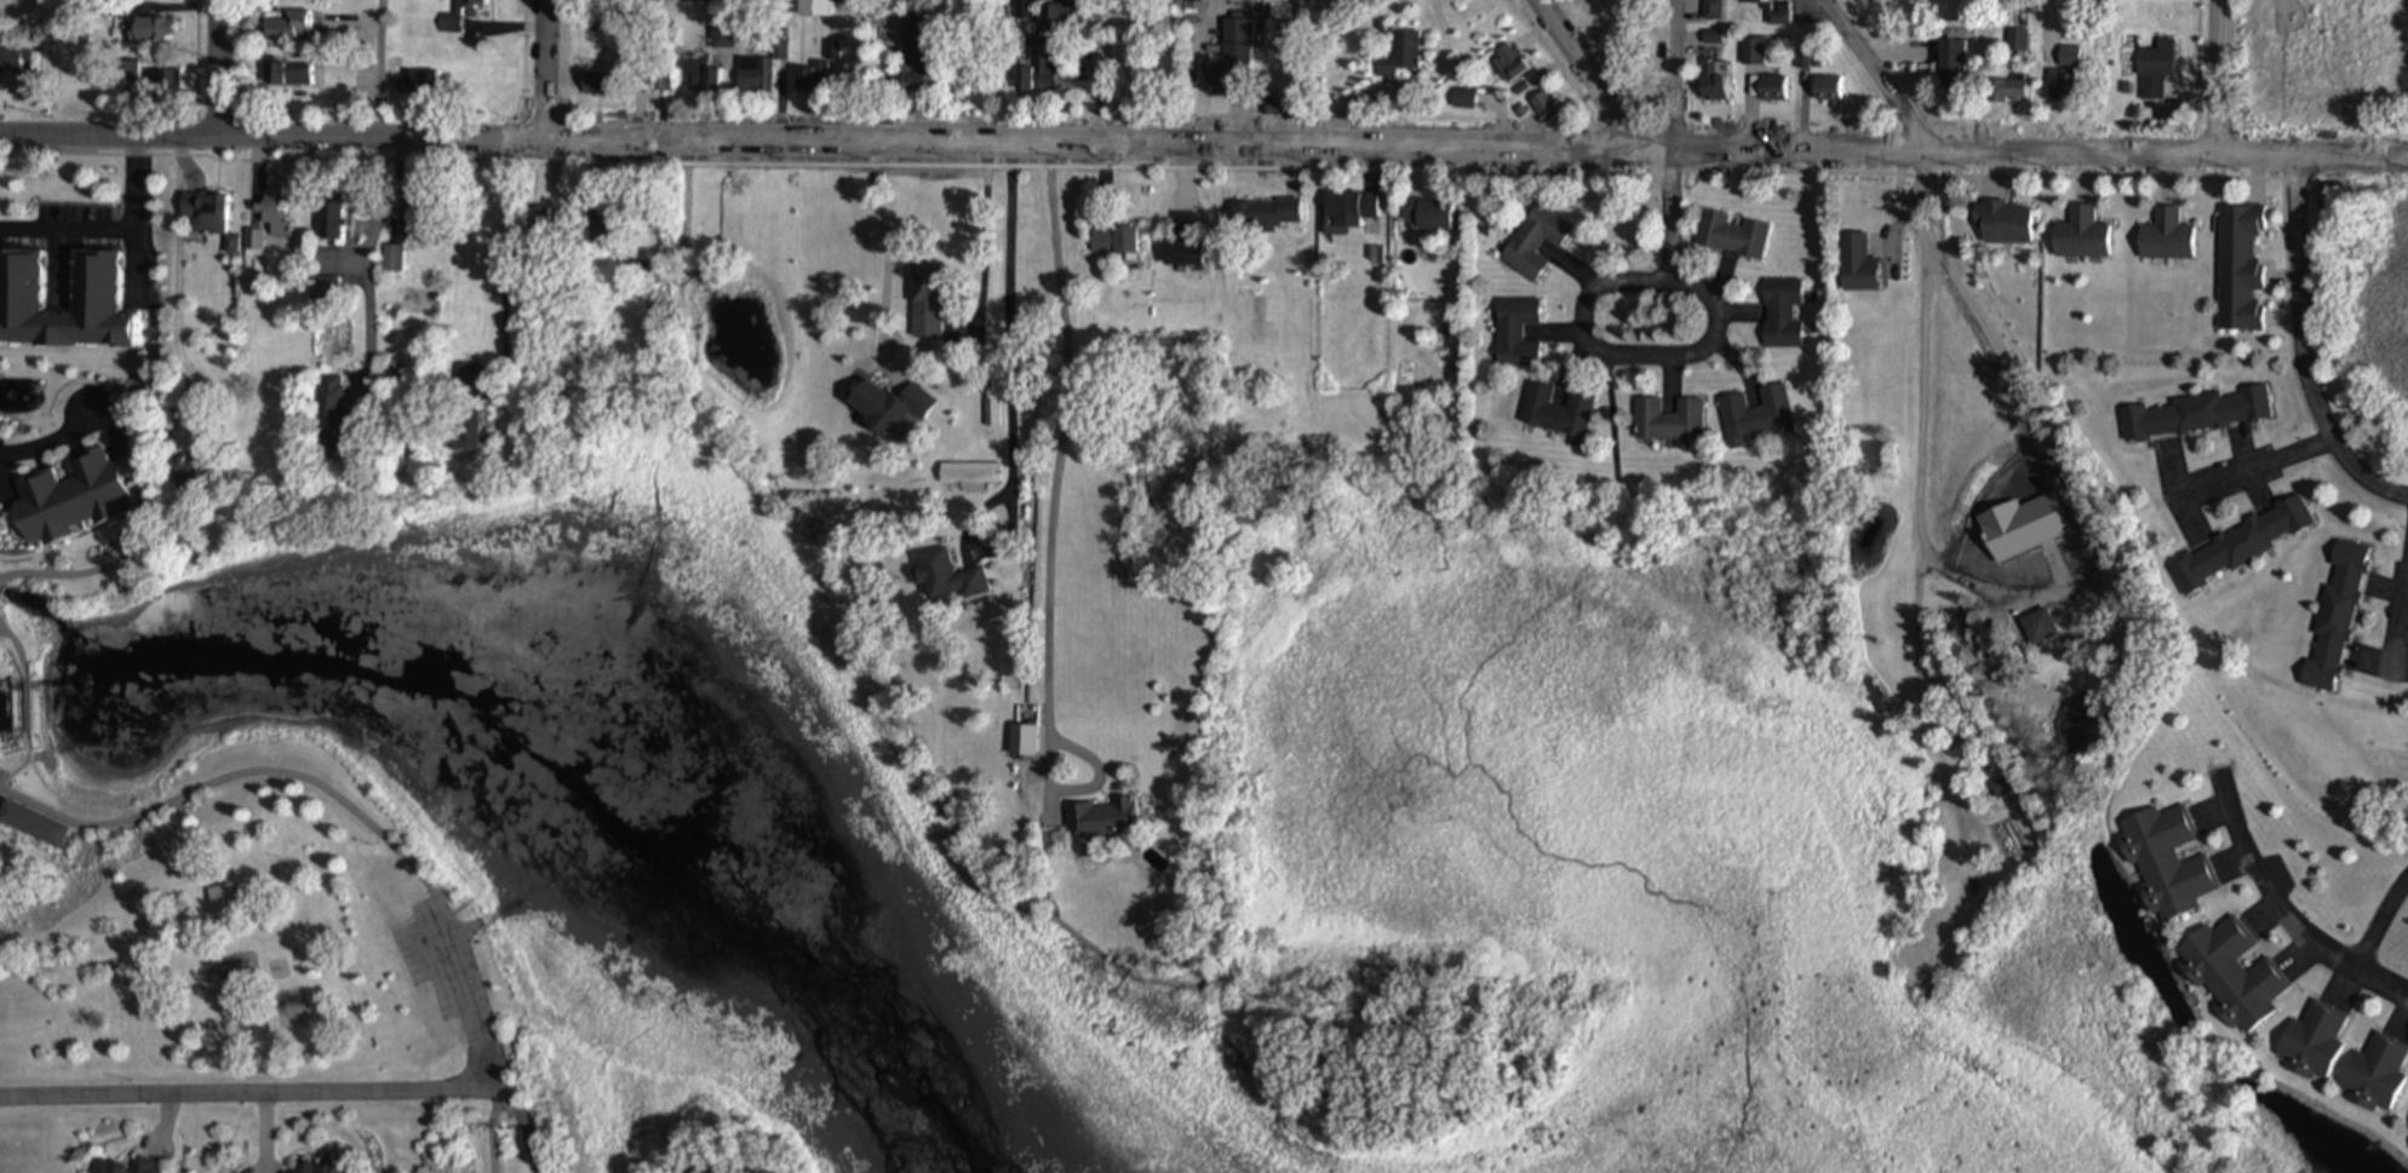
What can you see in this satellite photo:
building: (655, 0)
building: (705, 0)
building: (1749, 2)
building: (815, 10)
building: (1712, 10)
building: (457, 17)
road: (2043, 21)
building: (287, 29)
building: (150, 31)
building: (722, 35)
building: (2017, 44)
building: (781, 52)
building: (1753, 53)
building: (1043, 54)
building: (915, 57)
building: (1399, 57)
building: (10, 61)
building: (1232, 62)
building: (1509, 65)
road: (200, 67)
road: (218, 67)
building: (1951, 68)
road: (380, 69)
road: (545, 69)
building: (824, 70)
building: (2154, 71)
road: (1588, 74)
building: (286, 75)
road: (1673, 75)
road: (1879, 75)
building: (125, 76)
railway: (1845, 76)
building: (755, 77)
road: (2218, 77)
building: (655, 79)
building: (703, 79)
building: (1710, 84)
building: (600, 86)
building: (2062, 88)
building: (1773, 91)
building: (1828, 91)
building: (2007, 93)
building: (1464, 102)
building: (1546, 108)
road: (1204, 144)
road: (190, 156)
building: (1352, 211)
building: (195, 214)
building: (1263, 214)
building: (1426, 214)
road: (1673, 214)
building: (271, 215)
building: (538, 219)
building: (399, 220)
building: (329, 222)
building: (2005, 224)
road: (115, 236)
building: (1731, 236)
building: (2080, 236)
building: (2166, 237)
road: (982, 238)
building: (1113, 241)
building: (1183, 241)
building: (253, 242)
building: (1535, 243)
road: (504, 249)
road: (889, 254)
building: (391, 259)
building: (1857, 264)
building: (2238, 269)
building: (93, 282)
building: (322, 288)
building: (925, 301)
park: (745, 307)
building: (1781, 314)
building: (1515, 333)
road: (1589, 338)
road: (1008, 341)
road: (2301, 350)
building: (463, 379)
building: (889, 409)
building: (1555, 412)
building: (329, 414)
building: (992, 414)
building: (1755, 415)
building: (2195, 415)
road: (122, 422)
building: (1669, 422)
building: (464, 433)
road: (50, 444)
road: (2048, 448)
road: (1054, 468)
road: (2254, 468)
building: (969, 476)
building: (68, 499)
road: (1920, 524)
building: (2241, 545)
building: (948, 576)
building: (2335, 619)
building: (2039, 627)
road: (2402, 628)
road: (18, 649)
road: (28, 714)
road: (348, 807)
building: (1102, 820)
building: (33, 824)
building: (2167, 863)
building: (224, 901)
road: (2276, 914)
road: (2381, 922)
park: (257, 941)
building: (2231, 976)
building: (2311, 1042)
building: (2375, 1075)
road: (294, 1094)
building: (2407, 1128)
building: (139, 1163)
building: (316, 1166)

